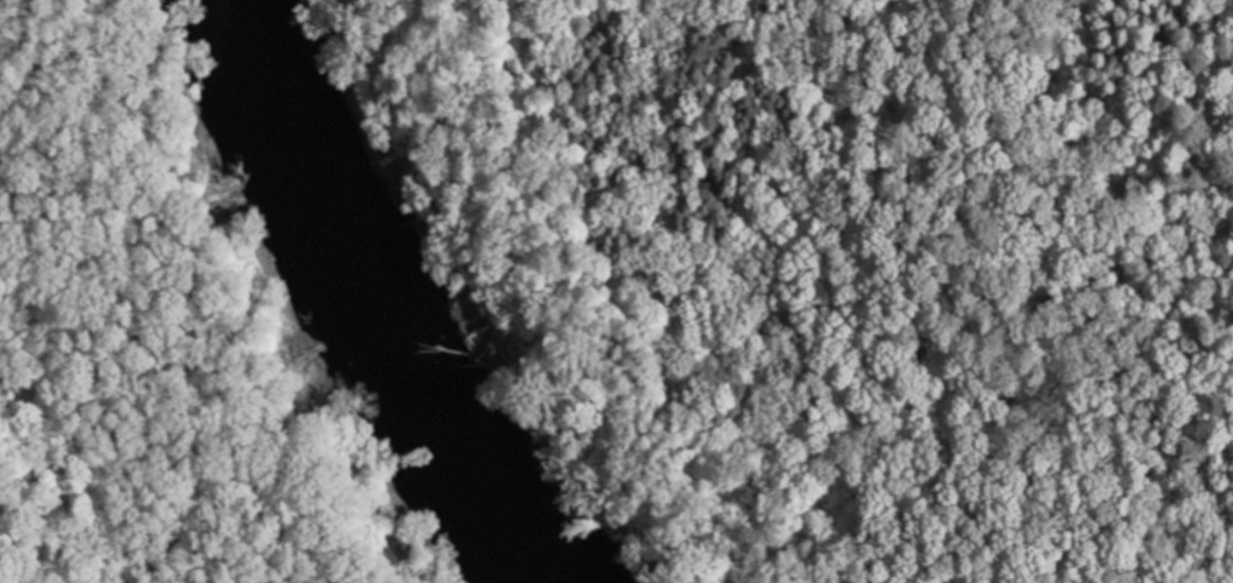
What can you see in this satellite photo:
river: (463, 291)

